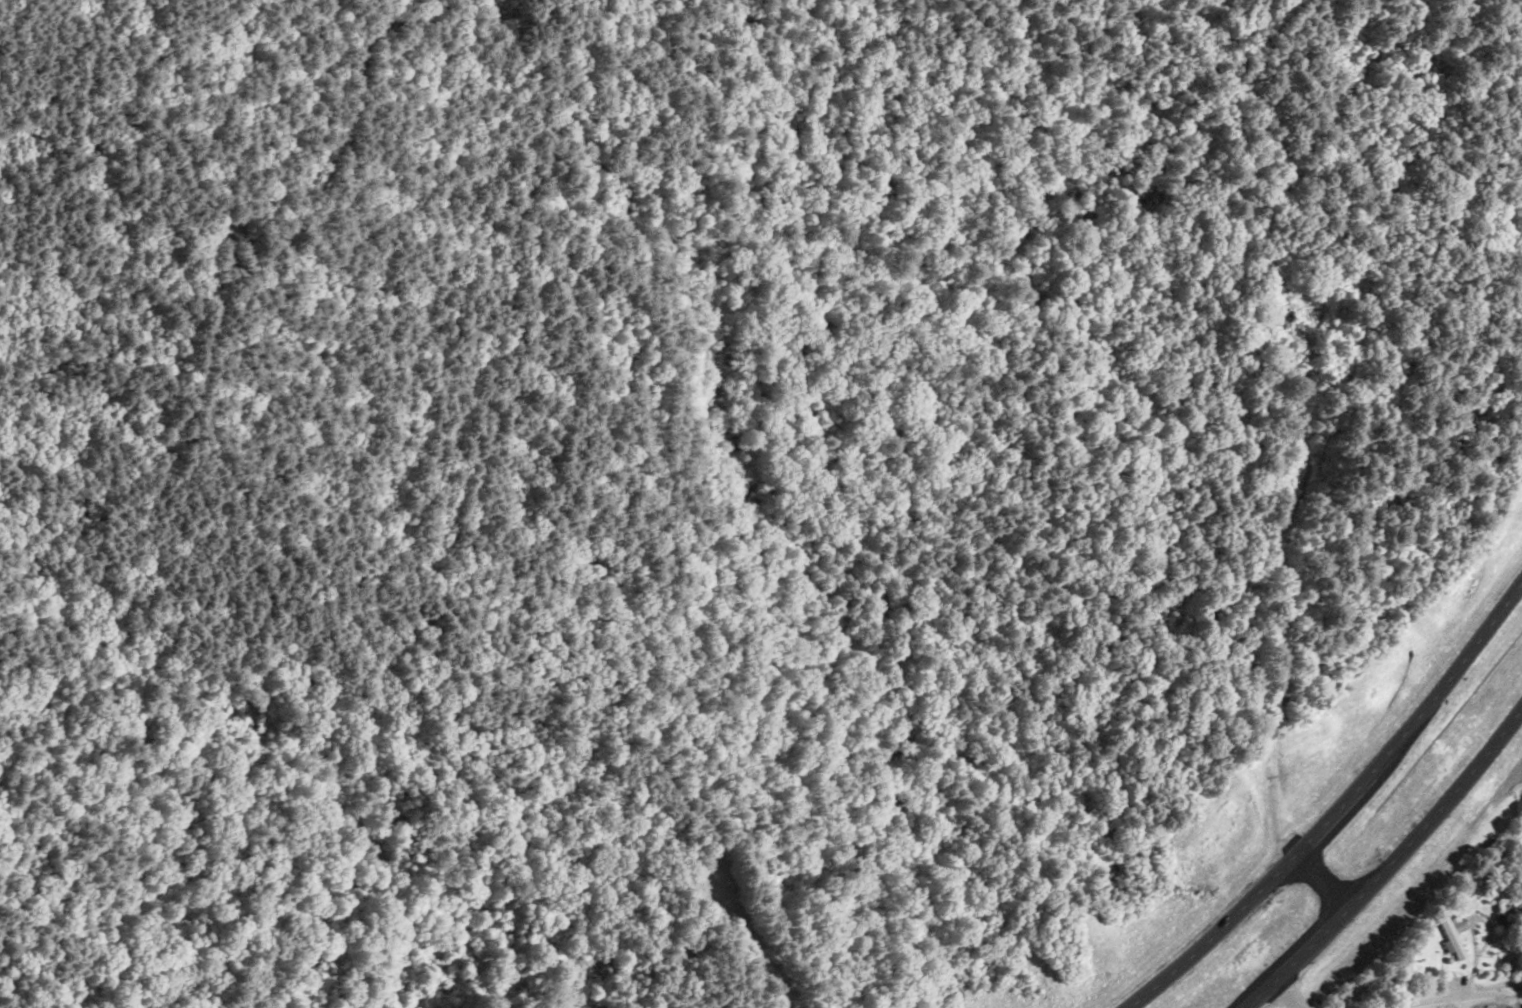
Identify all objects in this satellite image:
building: (1293, 318)
road: (1243, 636)
road: (1336, 800)
road: (100, 818)
road: (1388, 862)
road: (1289, 995)
road: (1450, 997)

